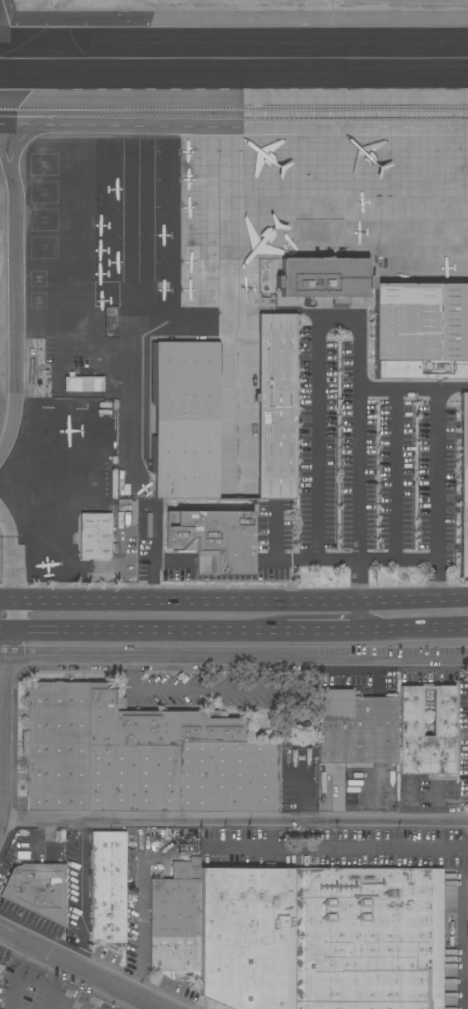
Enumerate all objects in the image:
airport taxiway: (234, 62)
road: (84, 131)
helipad: (43, 164)
helipad: (43, 192)
airport: (189, 197)
helipad: (43, 220)
helipad: (43, 247)
helipad: (37, 278)
building: (324, 279)
helipad: (38, 300)
building: (421, 331)
building: (82, 383)
building: (276, 406)
building: (186, 420)
road: (436, 457)
road: (358, 460)
road: (396, 475)
road: (317, 479)
building: (464, 487)
building: (128, 515)
road: (5, 524)
building: (94, 536)
building: (212, 540)
road: (284, 559)
road: (223, 562)
road: (155, 563)
road: (12, 569)
road: (186, 601)
road: (412, 601)
road: (8, 602)
road: (17, 617)
road: (316, 618)
road: (370, 631)
road: (0, 632)
road: (9, 633)
road: (145, 633)
road: (1, 645)
road: (0, 656)
road: (234, 657)
road: (217, 690)
parking lot: (212, 694)
building: (408, 720)
building: (356, 729)
road: (1, 737)
building: (69, 746)
building: (158, 761)
building: (239, 770)
road: (234, 818)
building: (15, 844)
road: (252, 844)
road: (366, 848)
building: (107, 887)
building: (39, 890)
building: (302, 936)
road: (141, 948)
road: (82, 968)
road: (98, 994)

